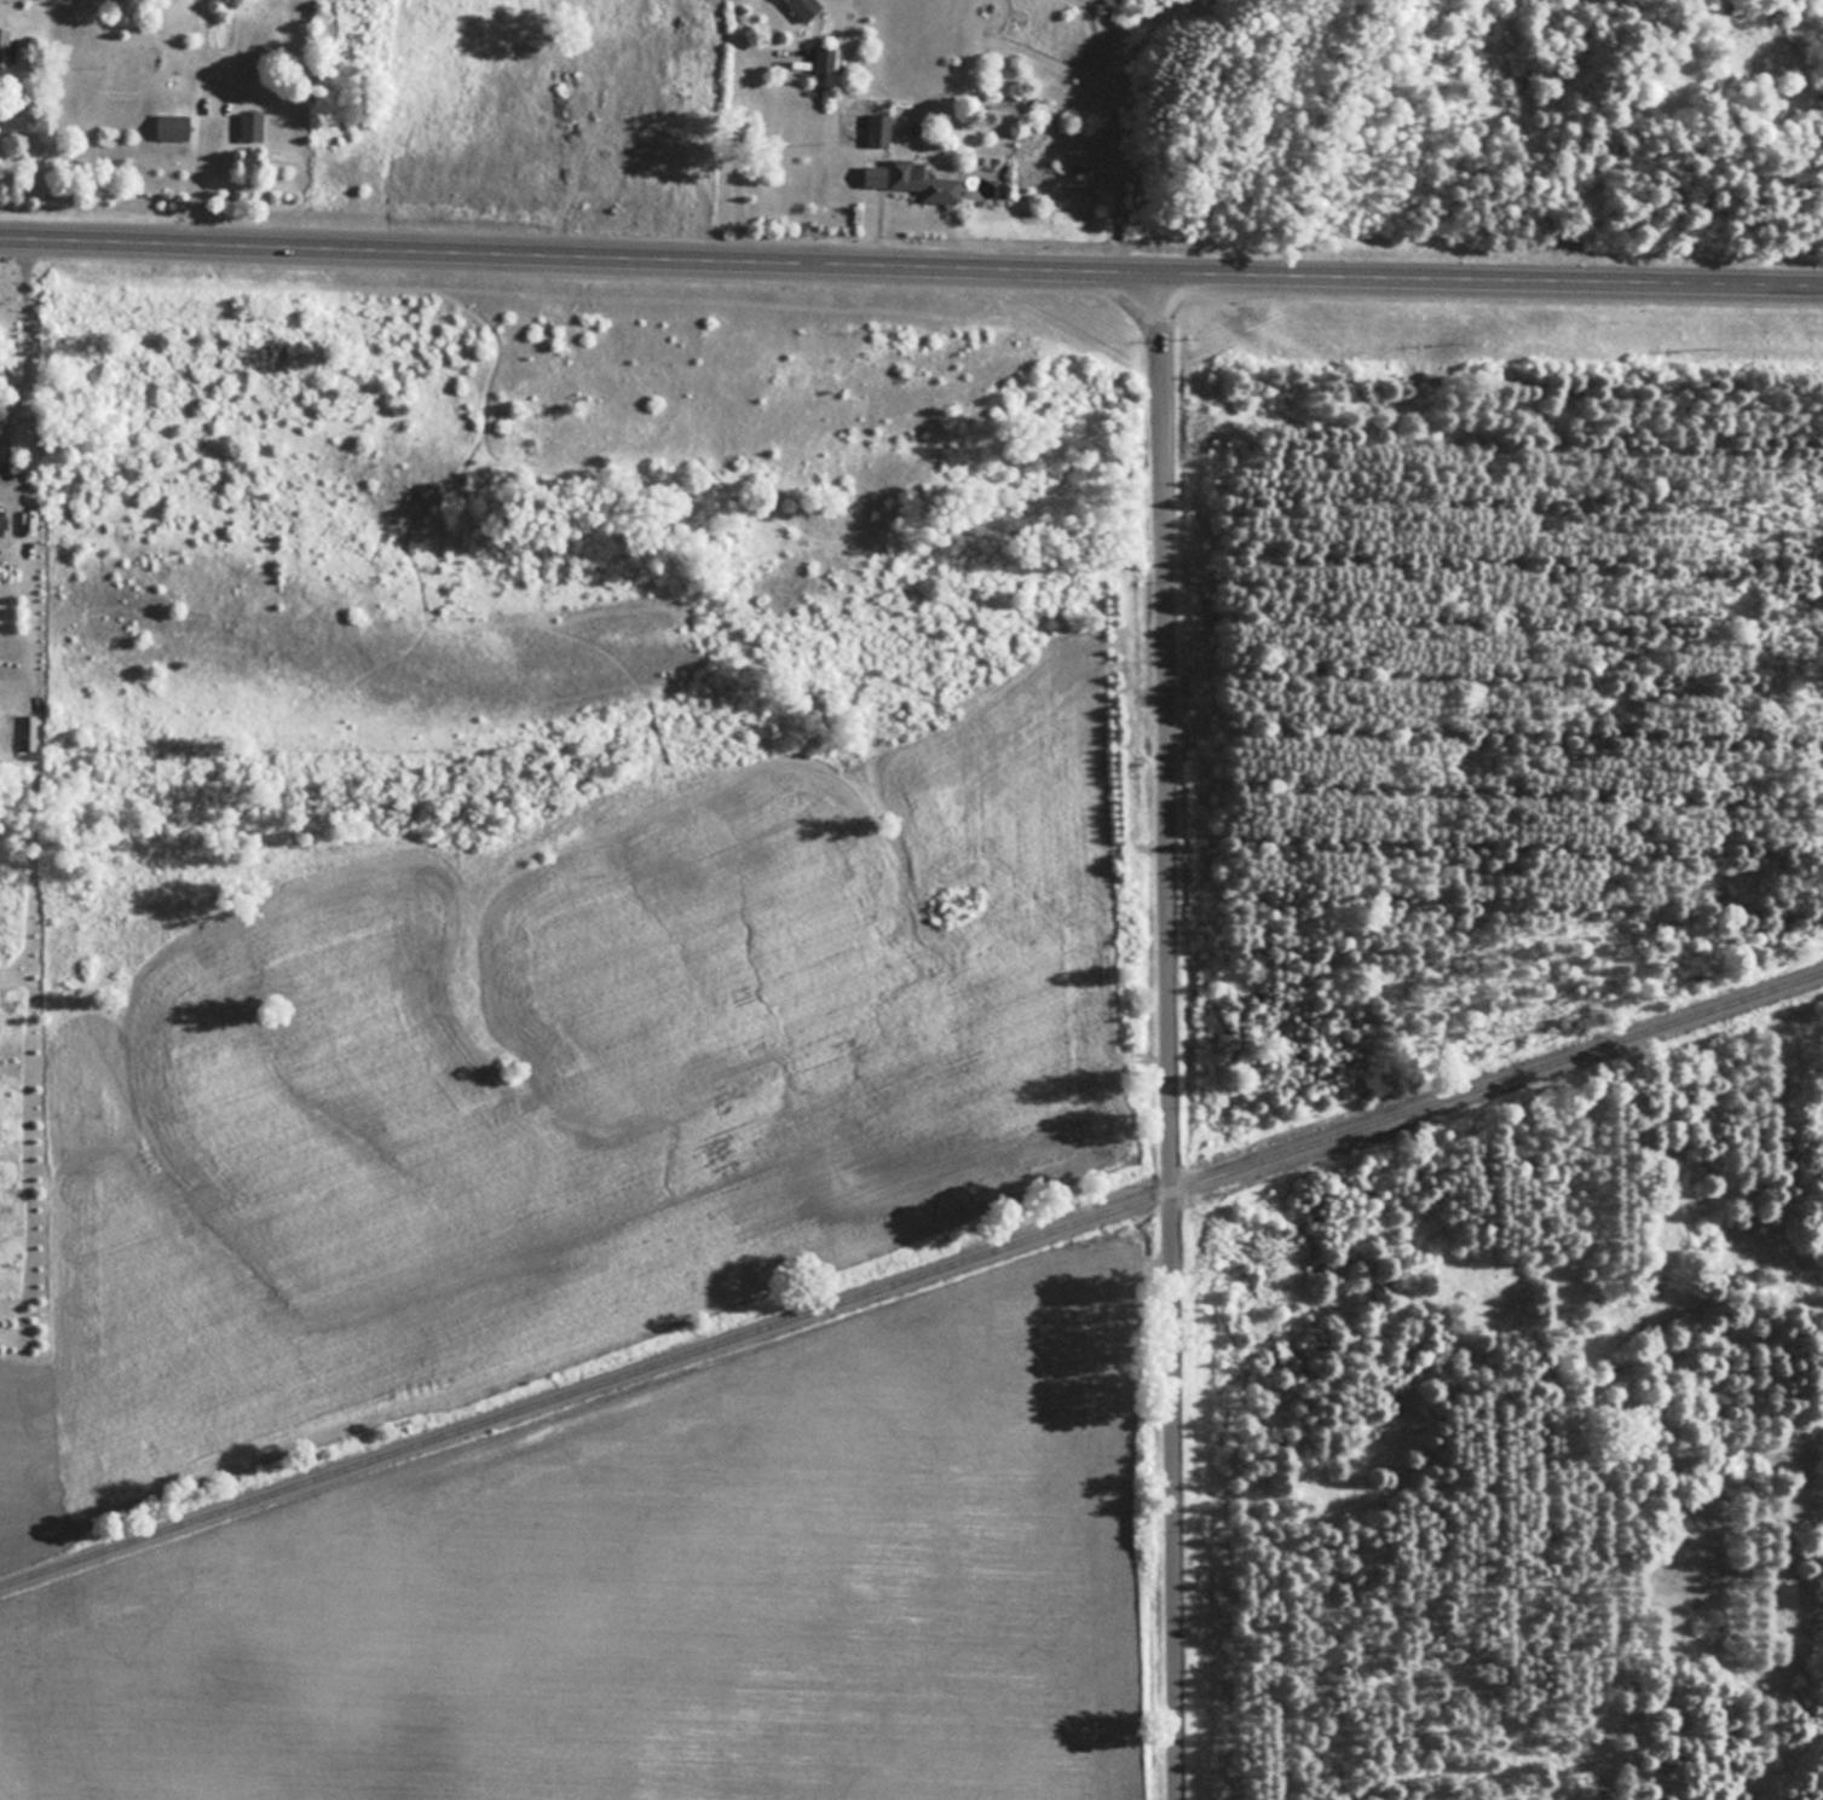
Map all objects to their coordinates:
building: (806, 6)
building: (4, 48)
building: (829, 59)
building: (250, 125)
building: (174, 126)
building: (882, 127)
road: (726, 162)
building: (913, 179)
road: (911, 271)
road: (23, 348)
building: (2, 517)
road: (1169, 1038)
railway: (910, 1277)

